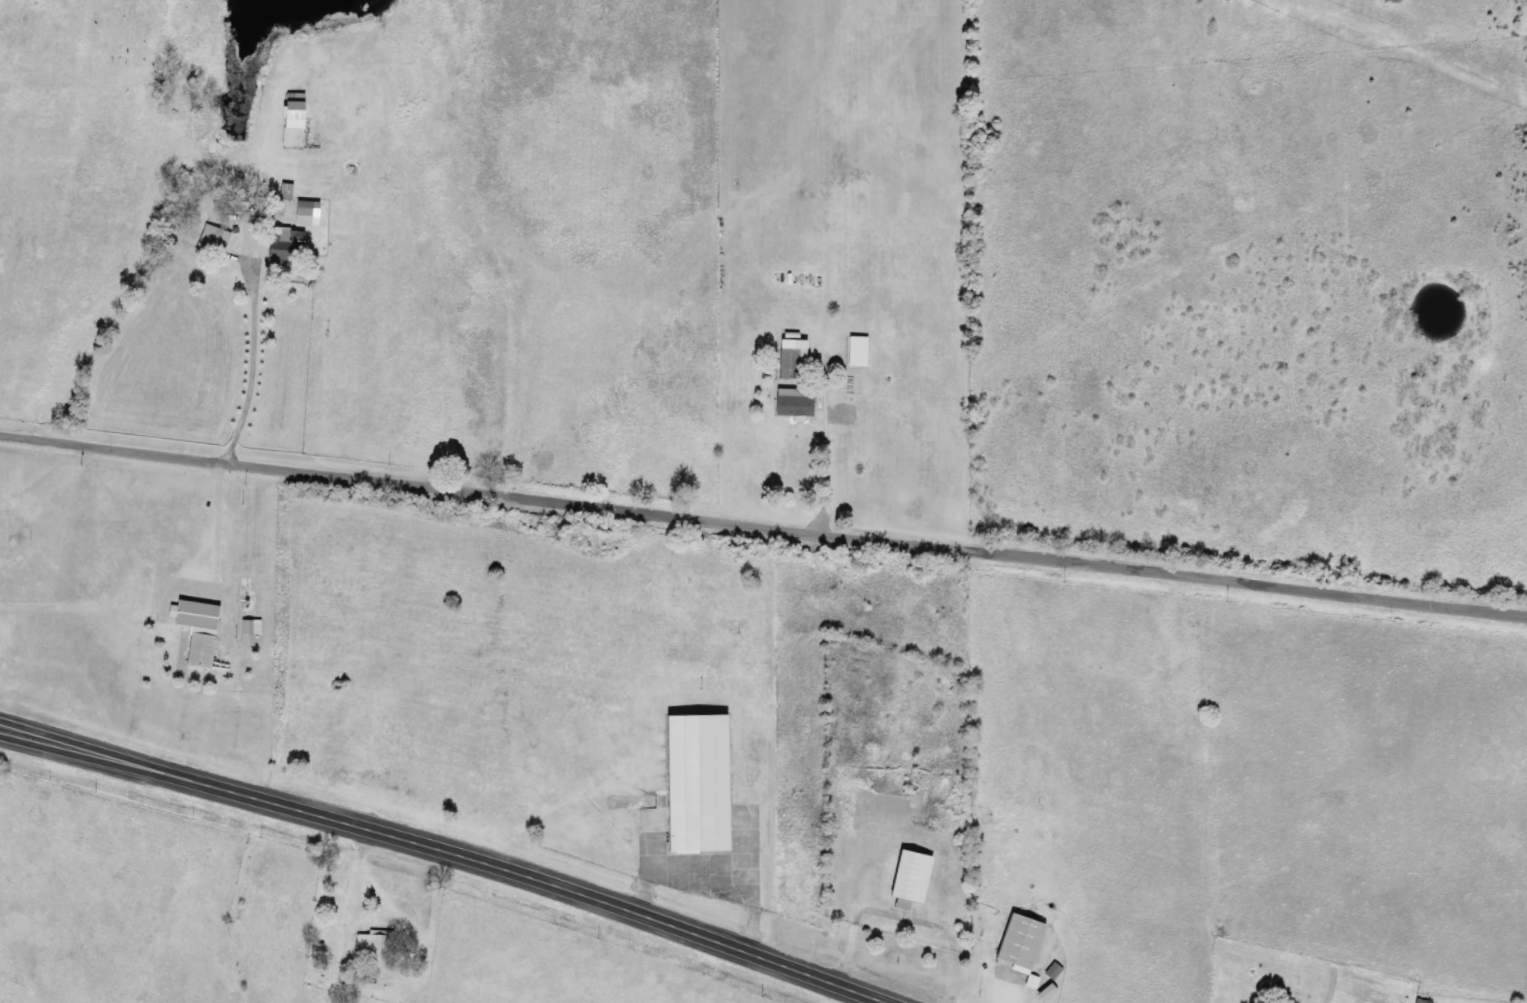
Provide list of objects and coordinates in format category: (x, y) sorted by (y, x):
building: (296, 114)
building: (289, 191)
building: (311, 213)
building: (218, 239)
building: (287, 244)
building: (861, 351)
building: (795, 362)
building: (797, 402)
road: (763, 540)
building: (202, 630)
building: (253, 631)
building: (699, 783)
road: (443, 851)
building: (913, 879)
road: (517, 936)
building: (1023, 943)
building: (381, 950)
building: (1057, 972)
building: (1035, 982)
building: (1049, 993)

